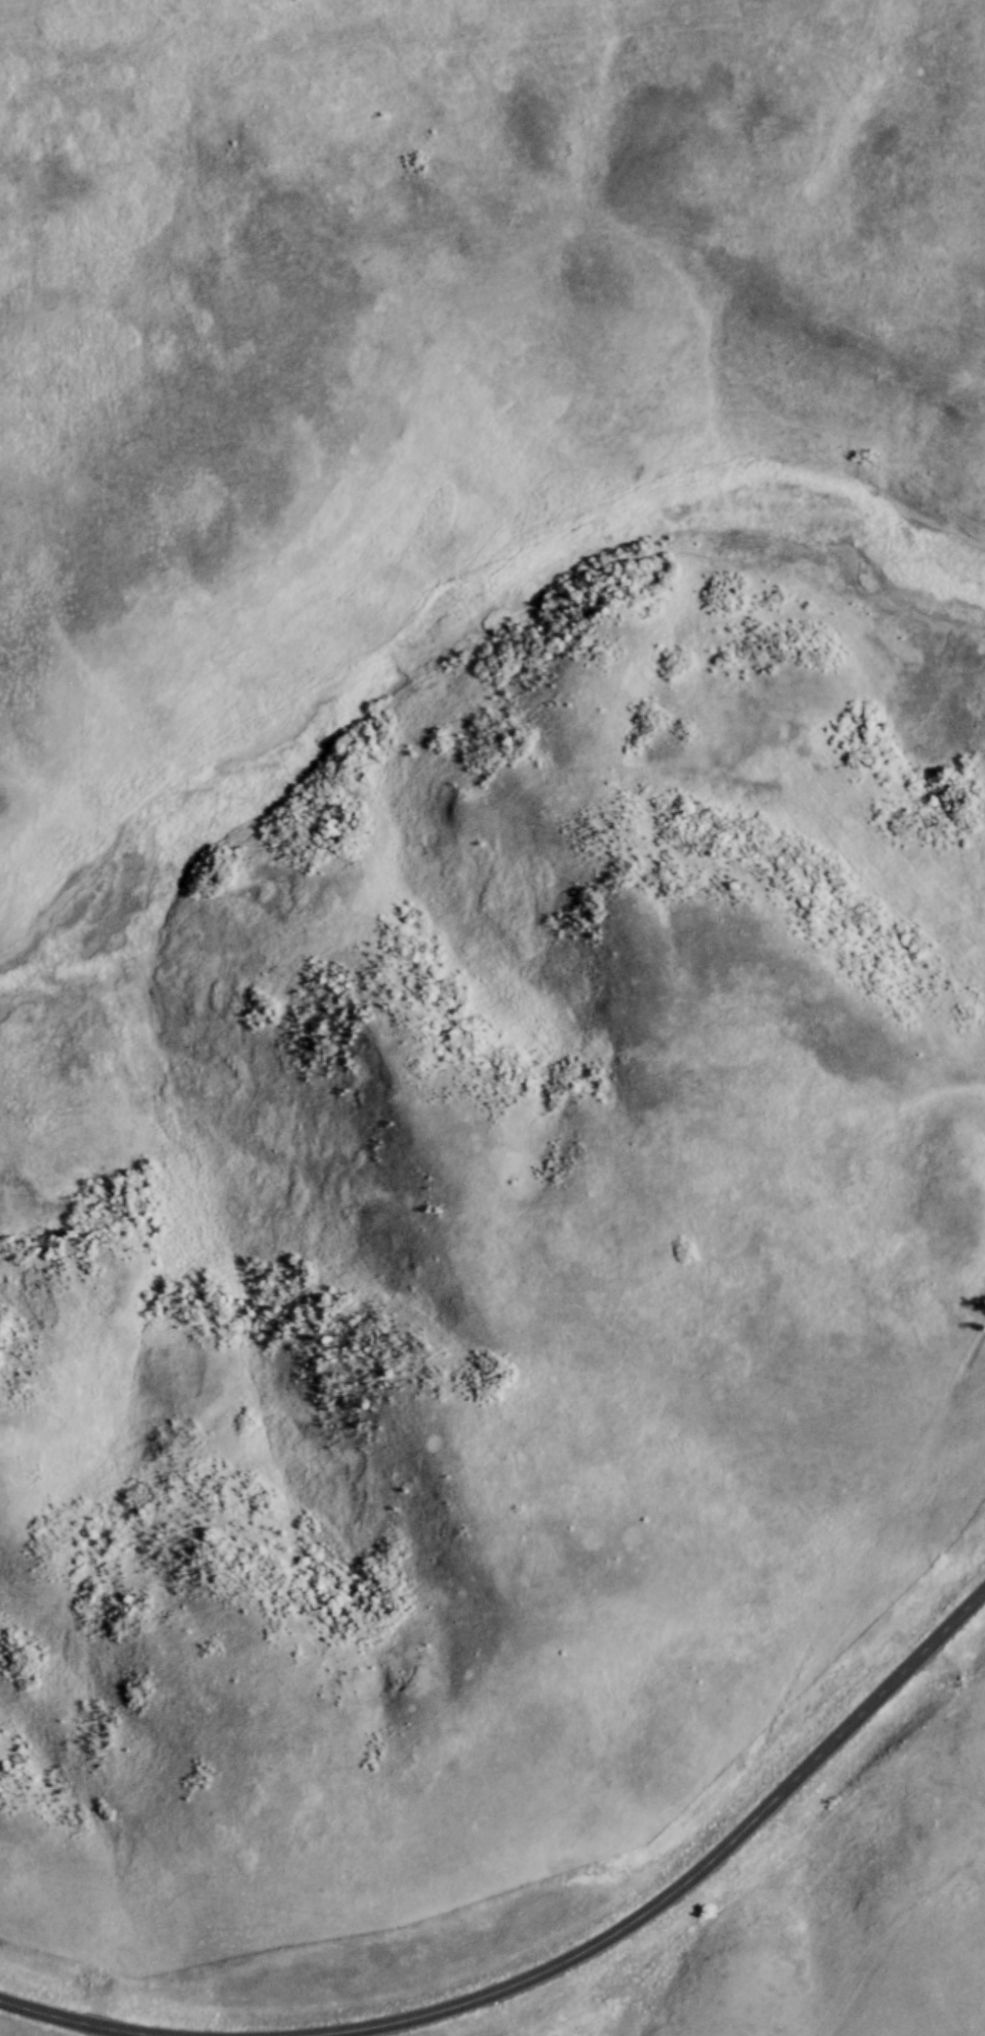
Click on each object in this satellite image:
road: (689, 1874)
road: (104, 2028)

